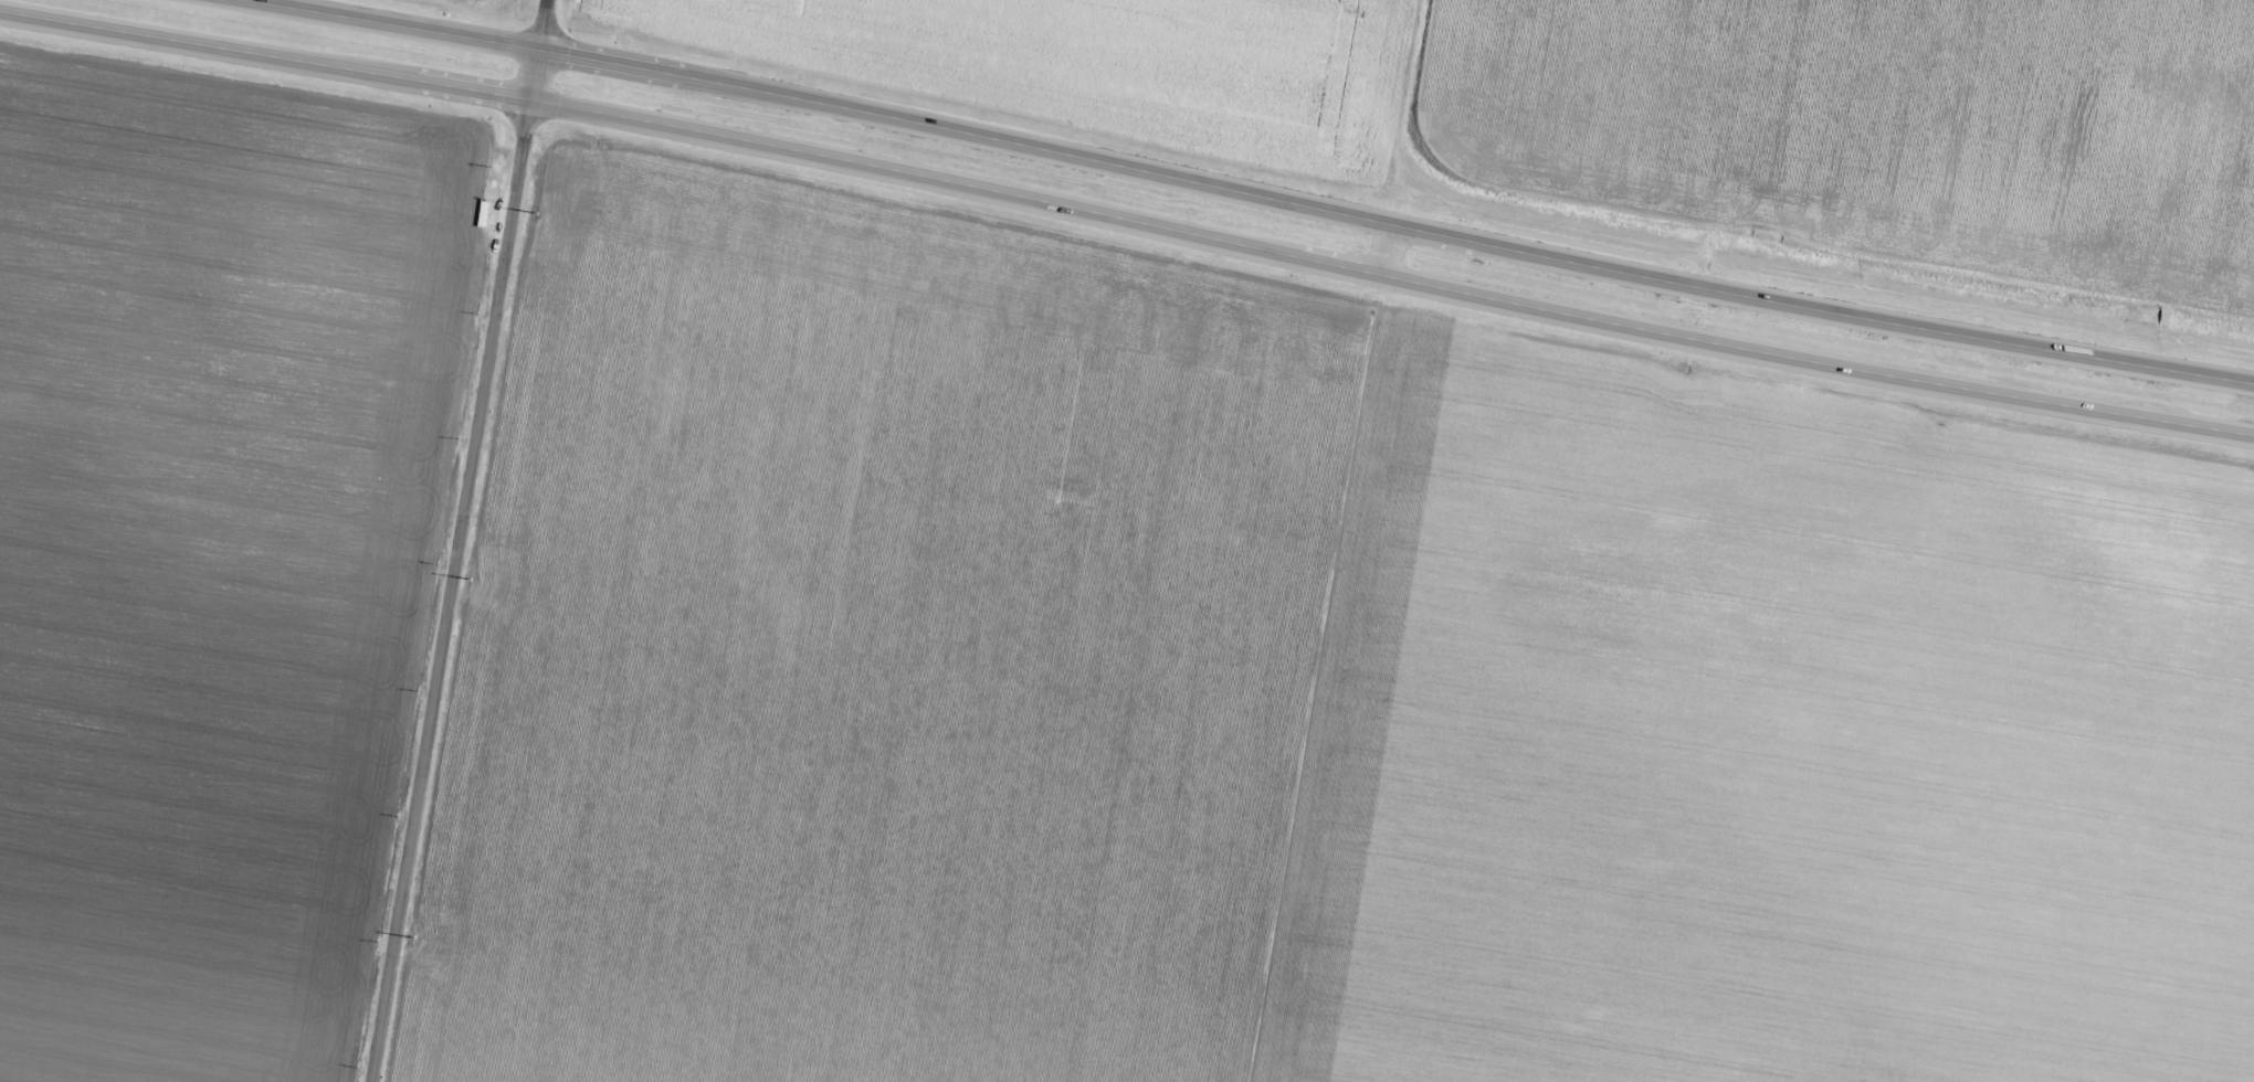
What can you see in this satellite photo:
road: (1250, 192)
road: (1127, 219)
power tower: (533, 224)
road: (1384, 248)
road: (460, 540)
power tower: (468, 586)
crop: (1302, 681)
power tower: (410, 943)

